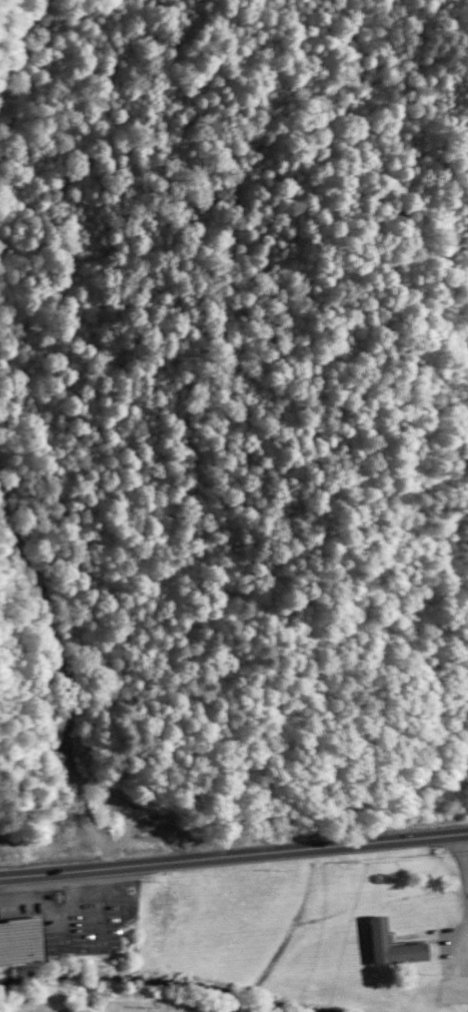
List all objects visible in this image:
road: (21, 42)
road: (68, 676)
road: (465, 856)
road: (234, 858)
building: (385, 942)
building: (20, 945)
parking lot: (464, 983)

